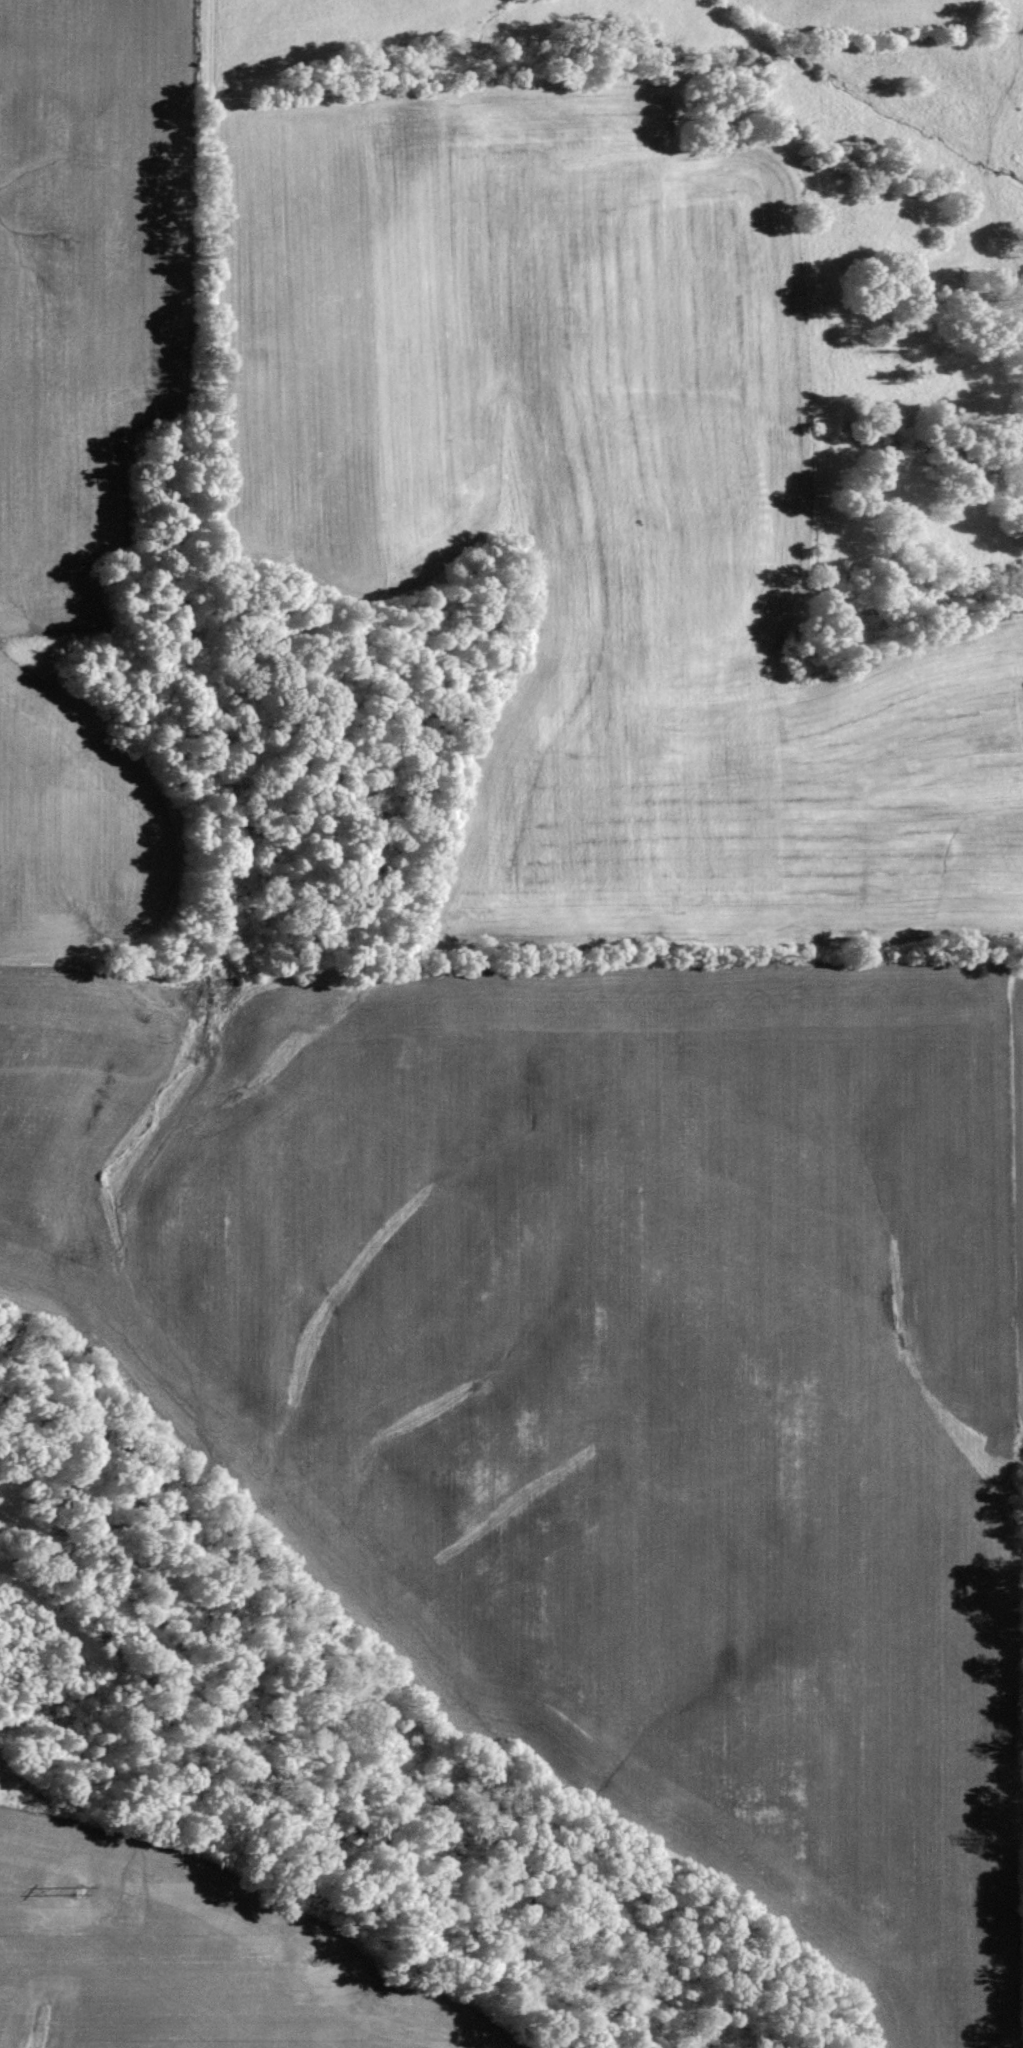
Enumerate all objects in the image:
power tower: (81, 1894)

